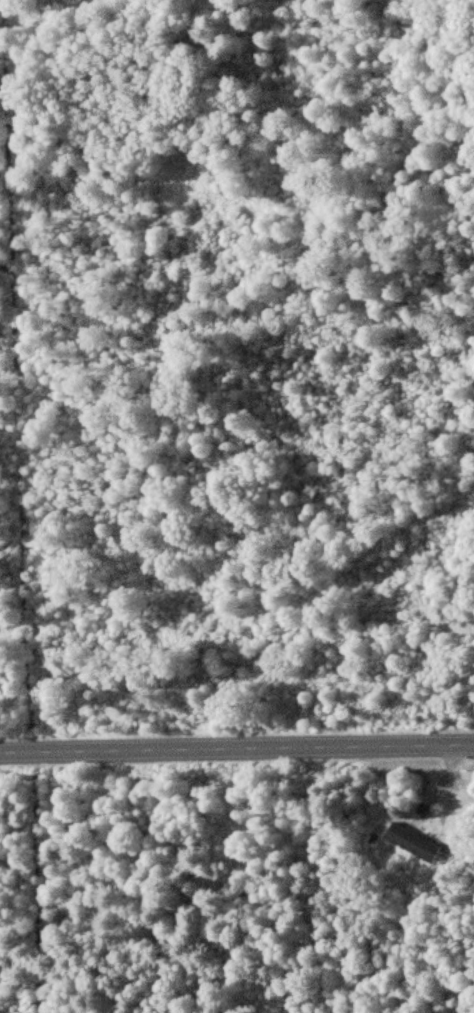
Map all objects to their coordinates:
road: (237, 750)
building: (411, 842)

